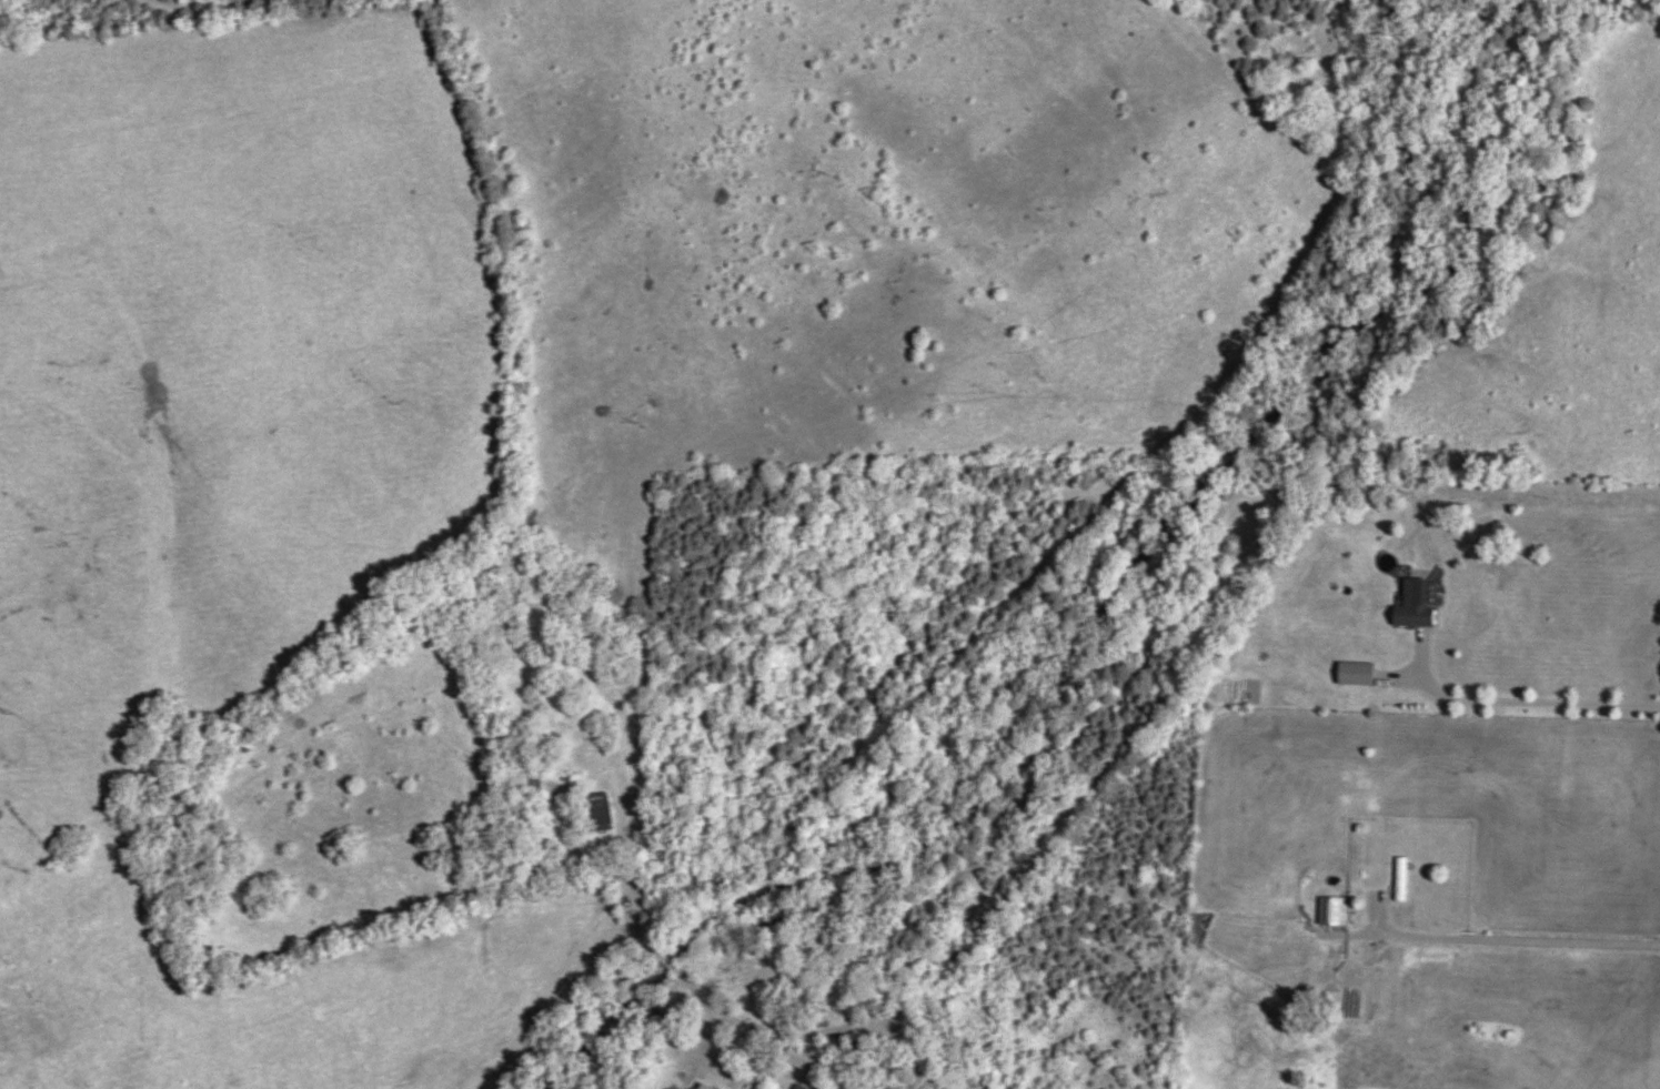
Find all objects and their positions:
building: (1419, 602)
building: (1368, 665)
building: (598, 810)
building: (1398, 877)
building: (1332, 909)
road: (897, 971)
building: (804, 1057)
building: (708, 1086)
building: (804, 1086)

